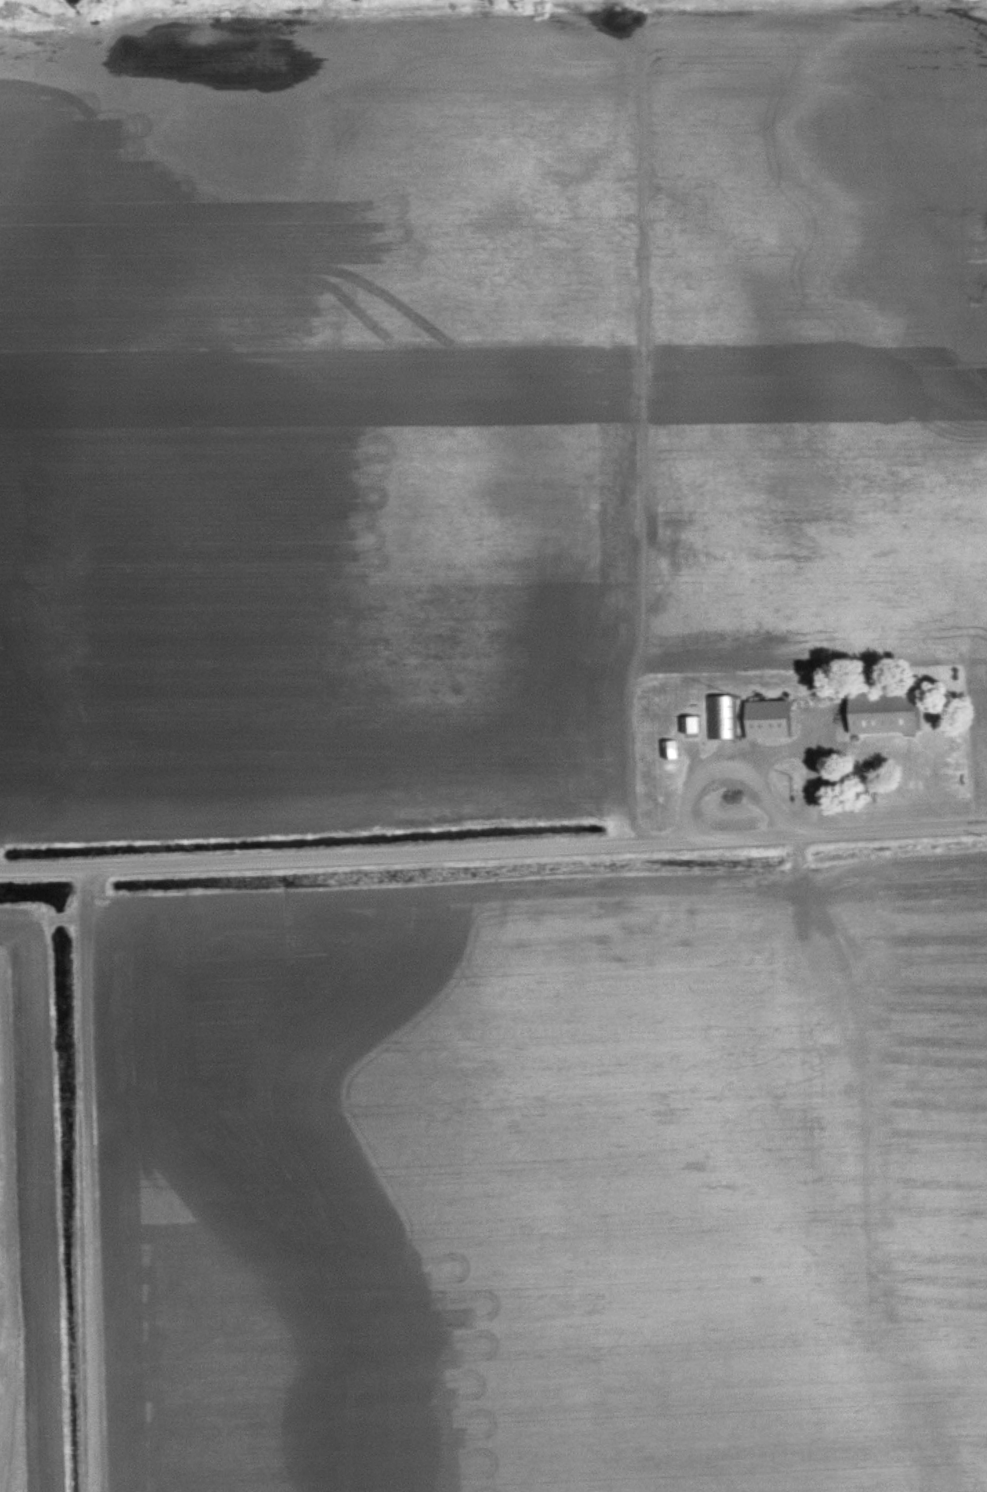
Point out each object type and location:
building: (882, 712)
building: (718, 718)
building: (763, 719)
building: (685, 726)
building: (664, 751)
road: (493, 851)
road: (92, 1180)

